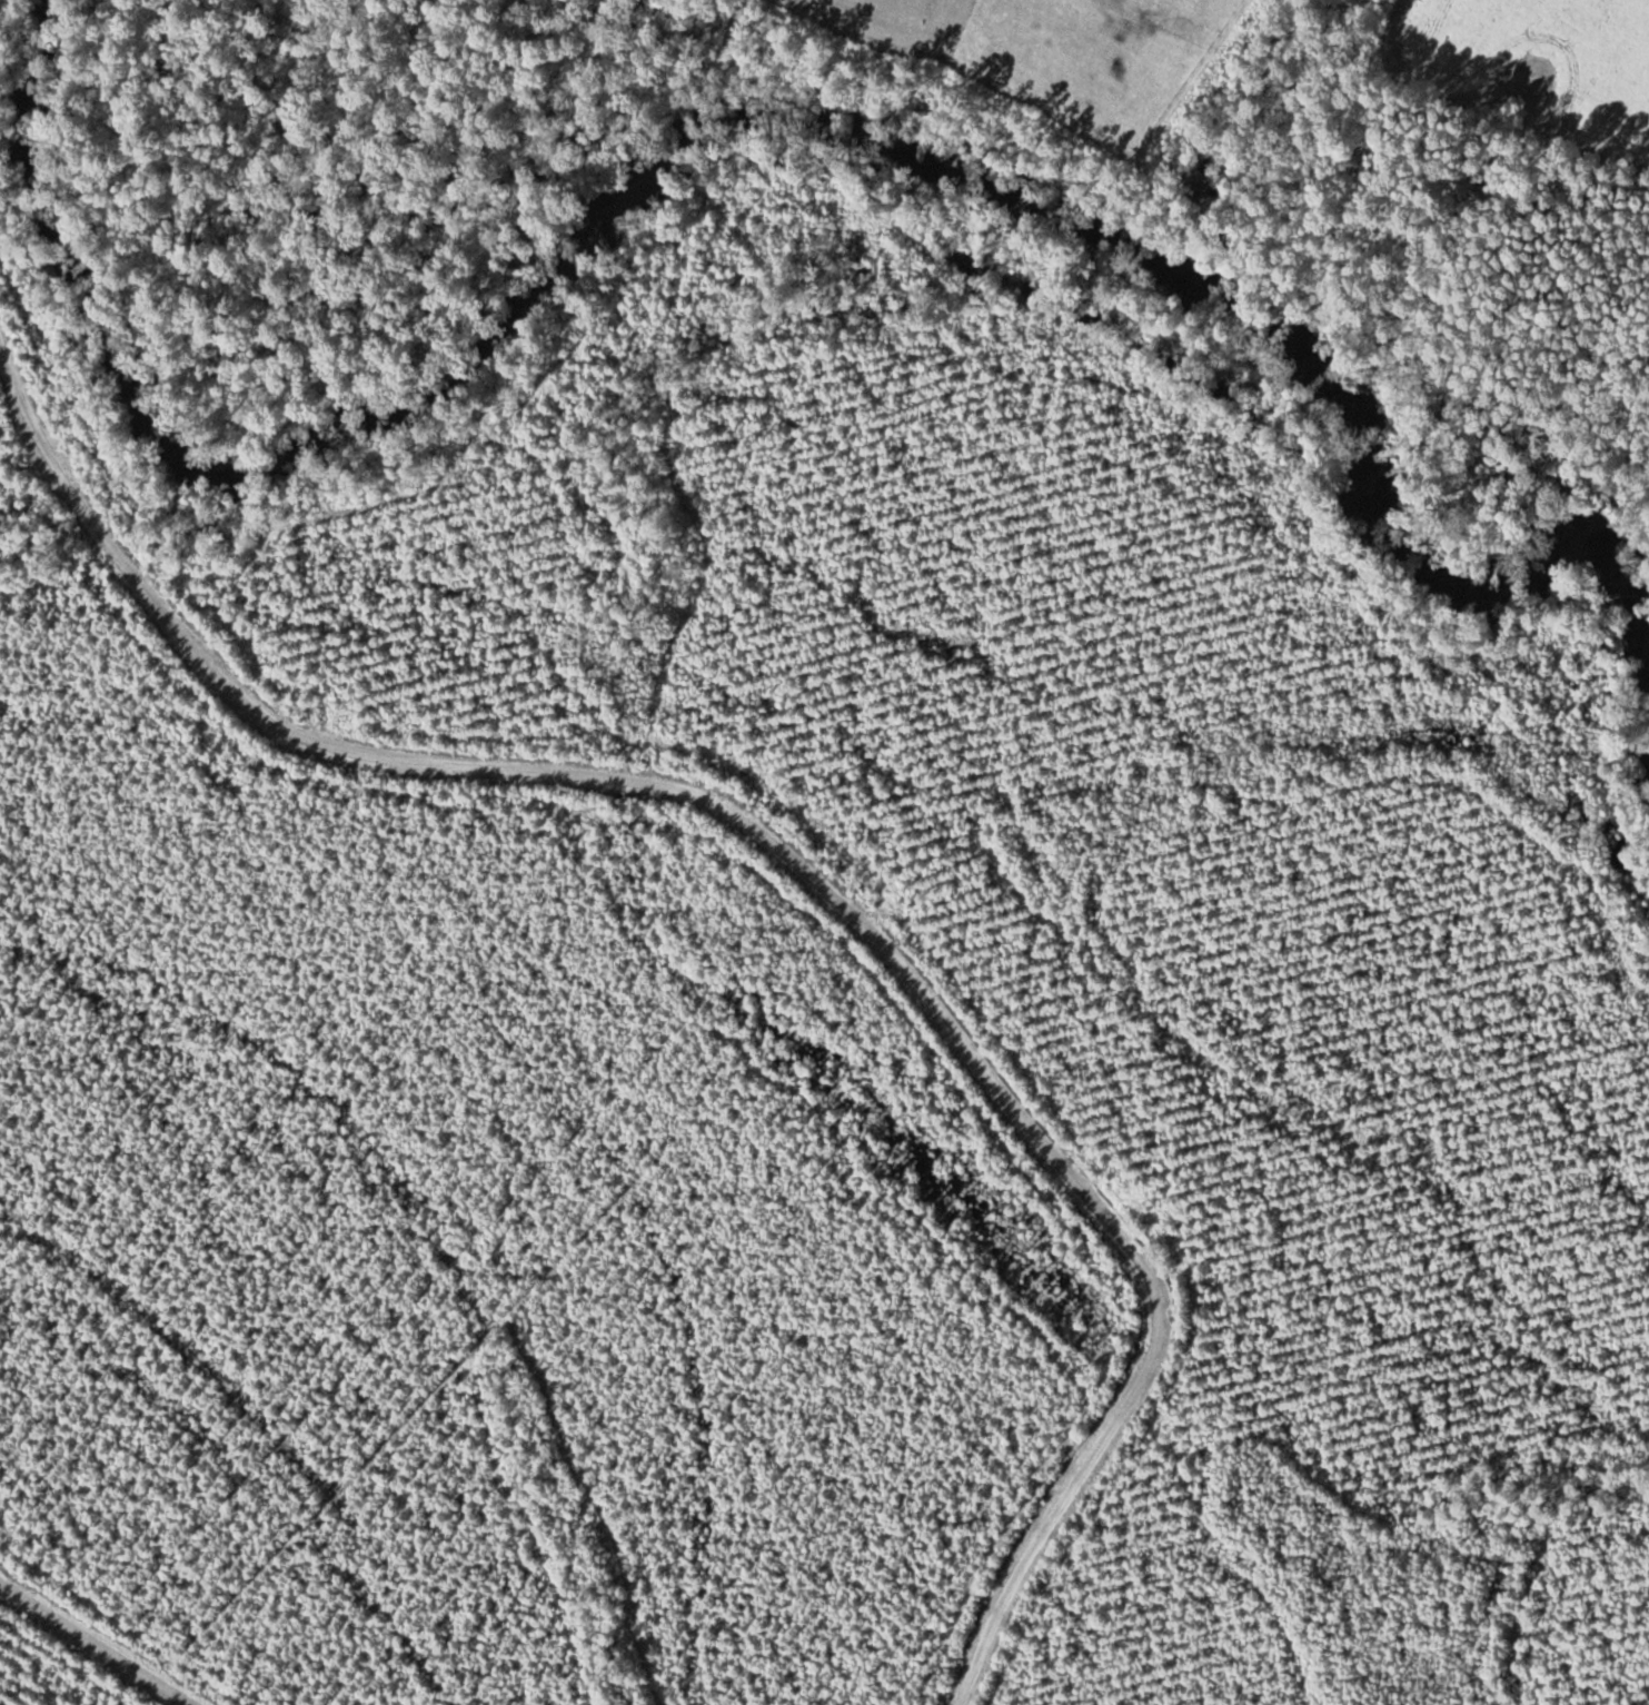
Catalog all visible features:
river: (738, 139)
road: (796, 856)
road: (99, 1642)

